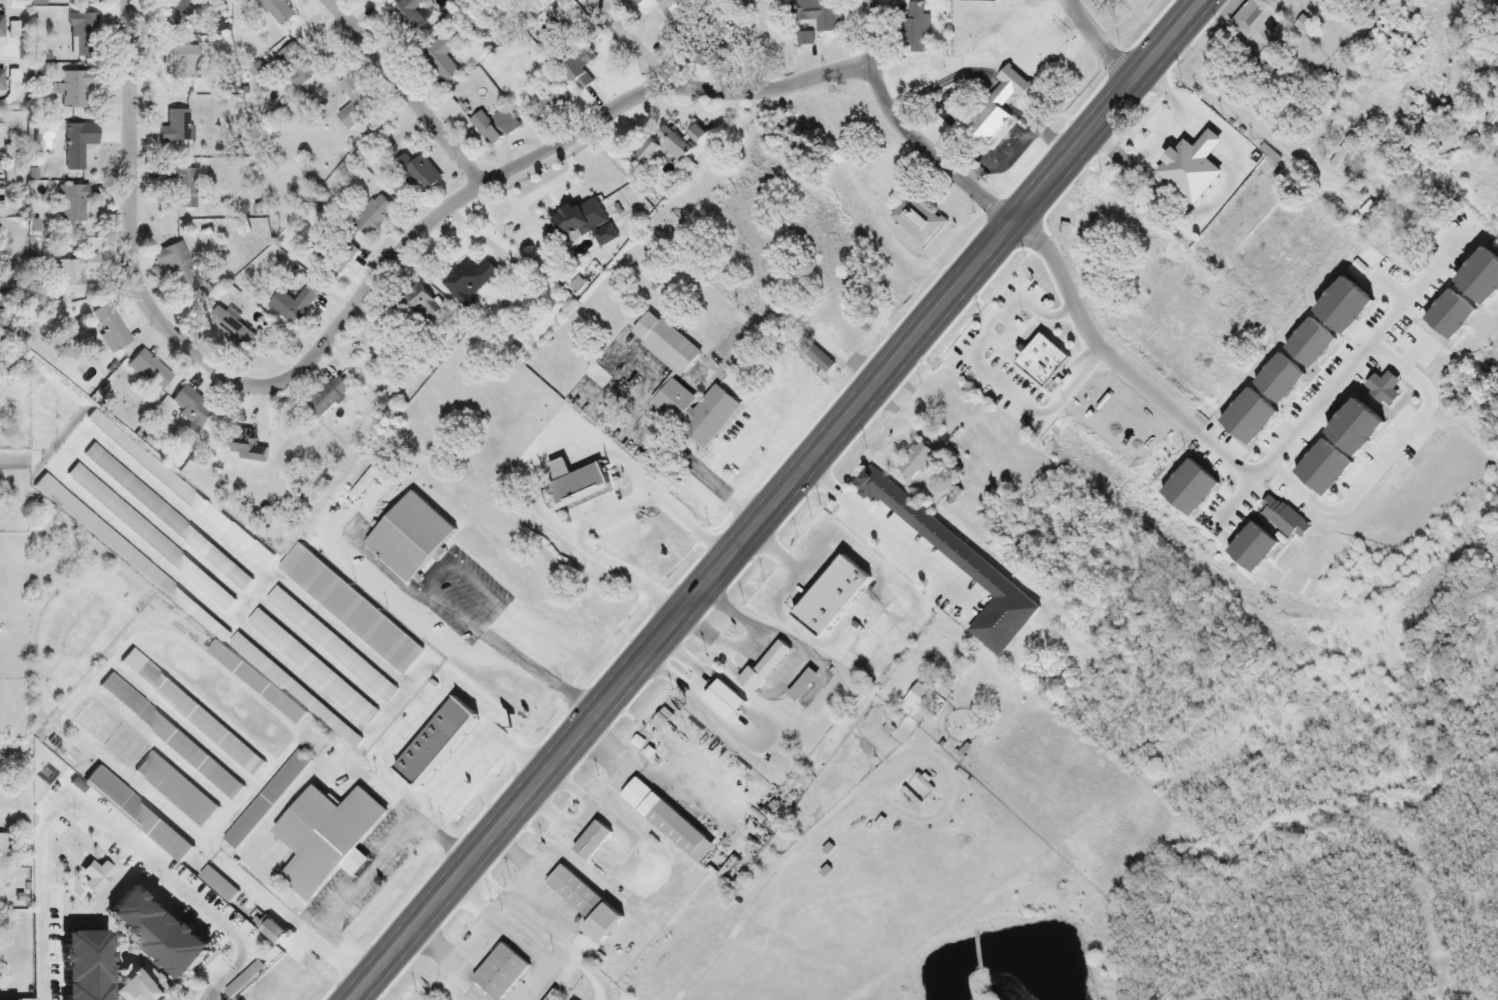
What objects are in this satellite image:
building: (526, 2)
building: (644, 9)
building: (276, 11)
building: (185, 13)
building: (819, 14)
building: (409, 15)
building: (1301, 24)
building: (1254, 26)
building: (0, 27)
building: (914, 28)
building: (83, 36)
building: (803, 38)
road: (1097, 42)
road: (629, 43)
road: (5, 54)
building: (438, 60)
building: (179, 63)
building: (577, 68)
building: (72, 89)
road: (405, 92)
building: (543, 103)
building: (989, 107)
building: (1490, 112)
building: (1323, 117)
building: (177, 126)
building: (492, 127)
road: (904, 129)
building: (694, 134)
road: (1164, 139)
building: (81, 147)
road: (1014, 147)
building: (657, 149)
building: (1336, 159)
building: (420, 174)
building: (180, 186)
road: (1229, 196)
building: (72, 204)
building: (371, 217)
building: (916, 219)
building: (566, 223)
building: (336, 259)
building: (177, 267)
building: (1186, 271)
building: (1146, 273)
building: (72, 274)
building: (1306, 274)
building: (467, 282)
road: (358, 299)
building: (291, 305)
building: (416, 305)
building: (1029, 323)
building: (109, 327)
building: (229, 329)
building: (662, 343)
building: (818, 360)
road: (1118, 363)
building: (148, 370)
road: (988, 379)
road: (1341, 380)
building: (326, 397)
building: (192, 409)
building: (693, 412)
building: (243, 447)
road: (541, 458)
road: (1389, 460)
building: (913, 462)
building: (571, 485)
road: (774, 499)
road: (607, 514)
building: (402, 534)
road: (888, 534)
building: (814, 557)
building: (346, 607)
road: (447, 608)
road: (916, 614)
road: (748, 641)
building: (761, 667)
road: (695, 682)
building: (253, 683)
building: (800, 686)
building: (913, 697)
building: (719, 701)
building: (190, 713)
building: (657, 722)
road: (761, 731)
building: (169, 737)
building: (426, 741)
road: (476, 758)
road: (647, 773)
road: (948, 784)
building: (175, 790)
building: (264, 798)
building: (134, 814)
road: (580, 817)
road: (105, 821)
building: (665, 822)
building: (322, 838)
building: (588, 842)
road: (526, 862)
road: (363, 873)
building: (215, 884)
building: (572, 894)
road: (757, 895)
road: (544, 923)
building: (146, 931)
road: (515, 938)
road: (443, 961)
building: (497, 973)
road: (568, 973)

